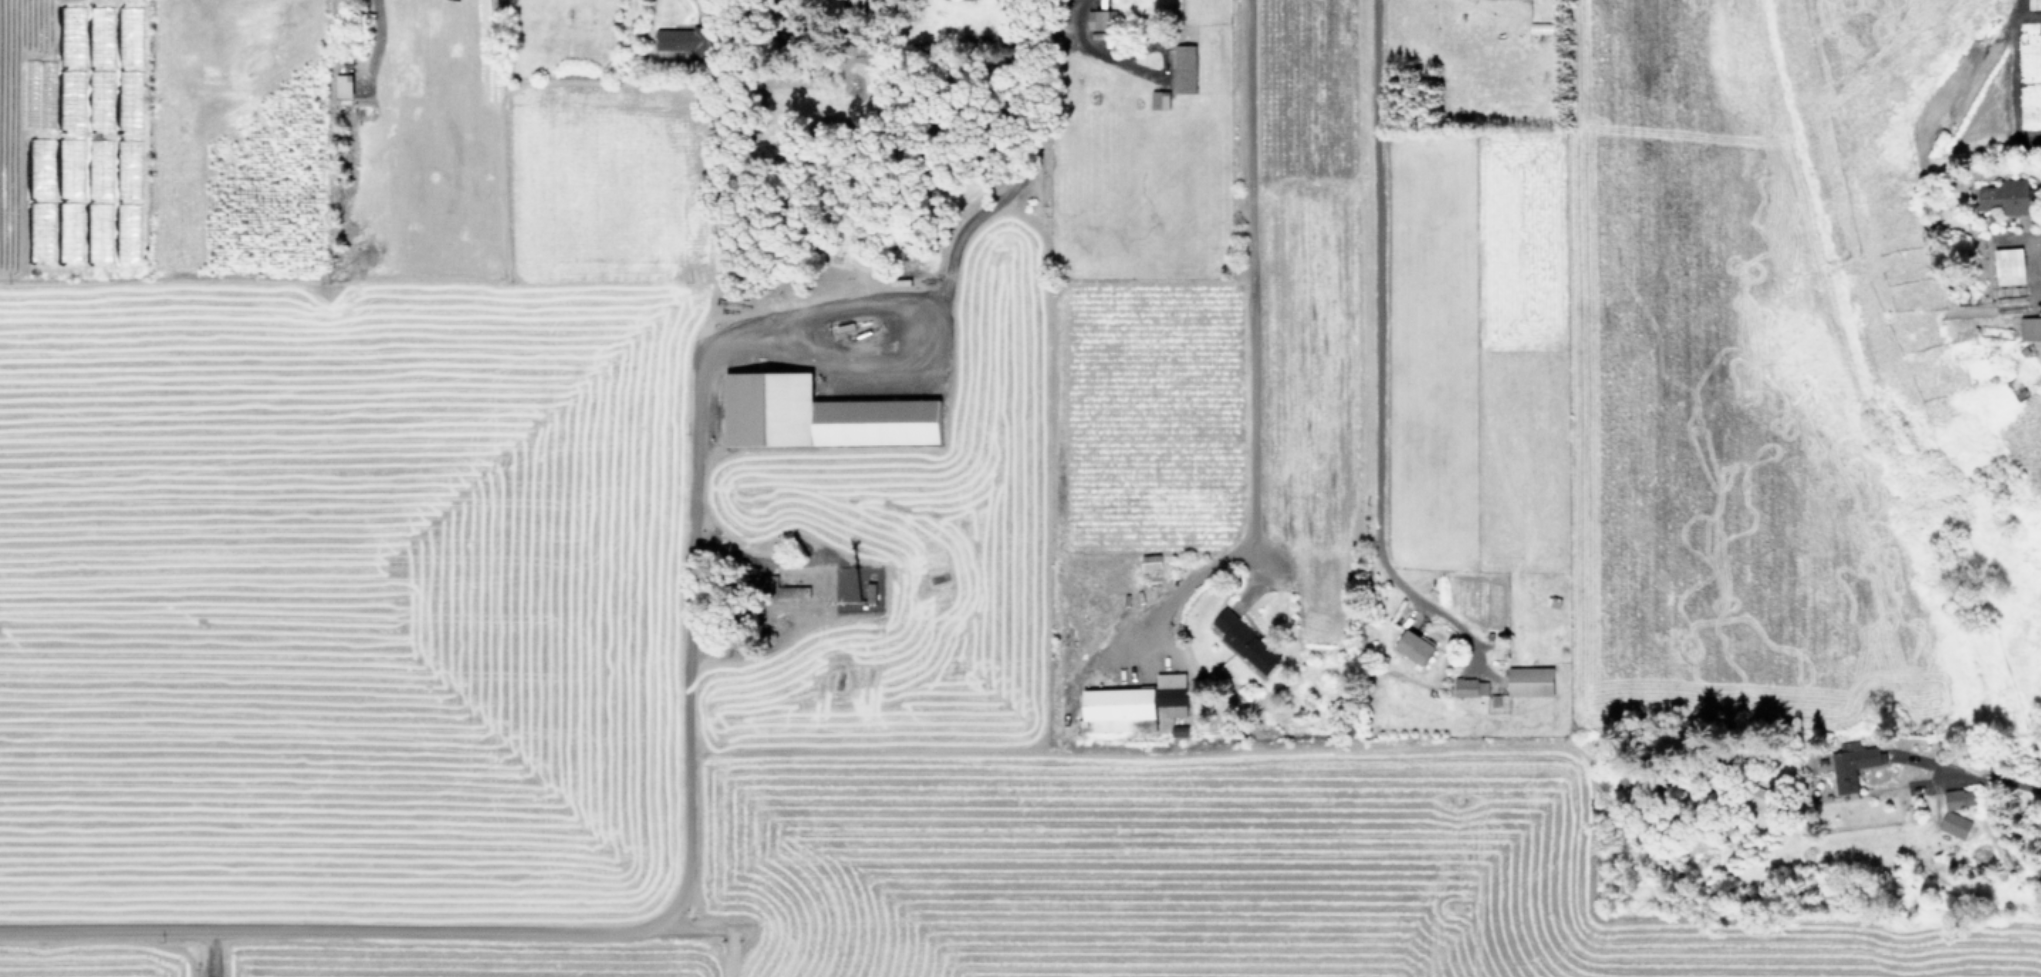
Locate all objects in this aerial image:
building: (1102, 21)
building: (676, 40)
road: (1081, 40)
road: (1163, 60)
building: (1186, 71)
building: (1160, 102)
building: (2008, 199)
road: (2039, 240)
building: (2010, 268)
road: (1381, 278)
building: (2011, 307)
building: (2031, 331)
road: (1253, 352)
building: (2018, 391)
road: (698, 412)
building: (822, 417)
crop: (1020, 488)
building: (783, 593)
building: (1247, 643)
building: (1416, 648)
building: (1531, 683)
building: (1472, 689)
building: (1139, 710)
building: (1856, 764)
road: (1968, 767)
building: (1961, 800)
building: (1956, 826)
road: (763, 927)
road: (332, 933)

